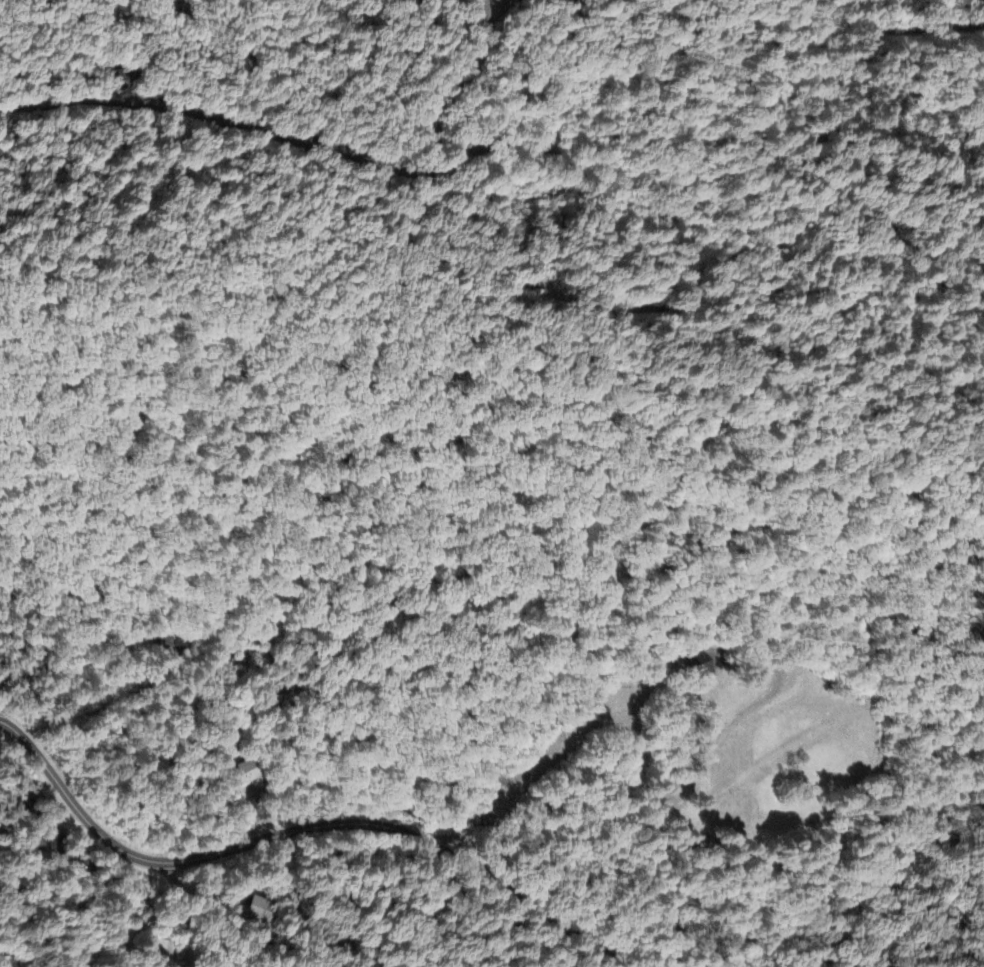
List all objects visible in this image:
building: (982, 8)
road: (460, 89)
road: (515, 151)
building: (700, 665)
building: (244, 773)
road: (297, 832)
road: (656, 833)
building: (55, 843)
building: (260, 910)
road: (186, 914)
building: (162, 948)

